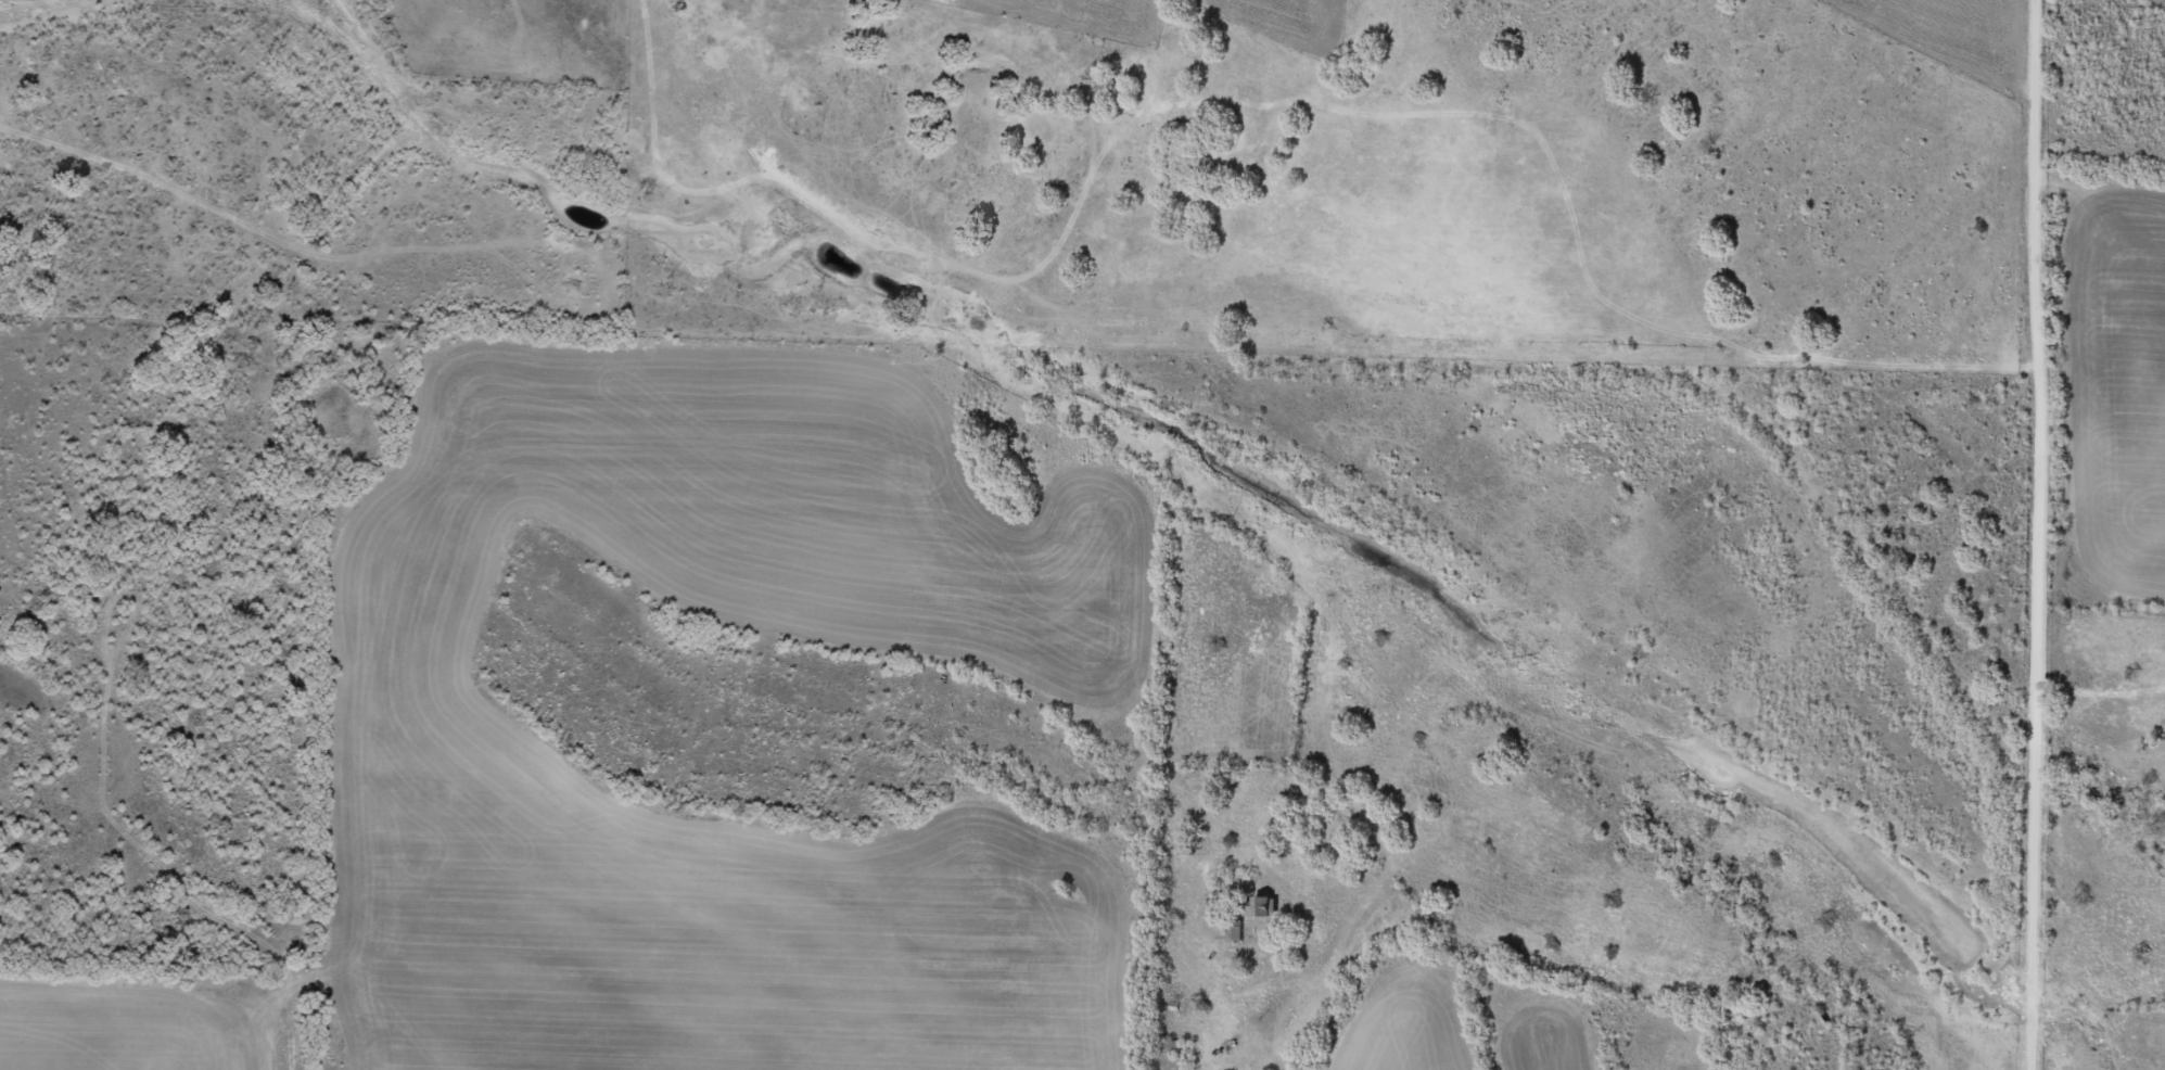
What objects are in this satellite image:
road: (1538, 365)
road: (147, 380)
road: (2035, 534)
building: (1259, 906)
road: (1507, 926)
building: (1234, 929)
building: (1820, 1020)

